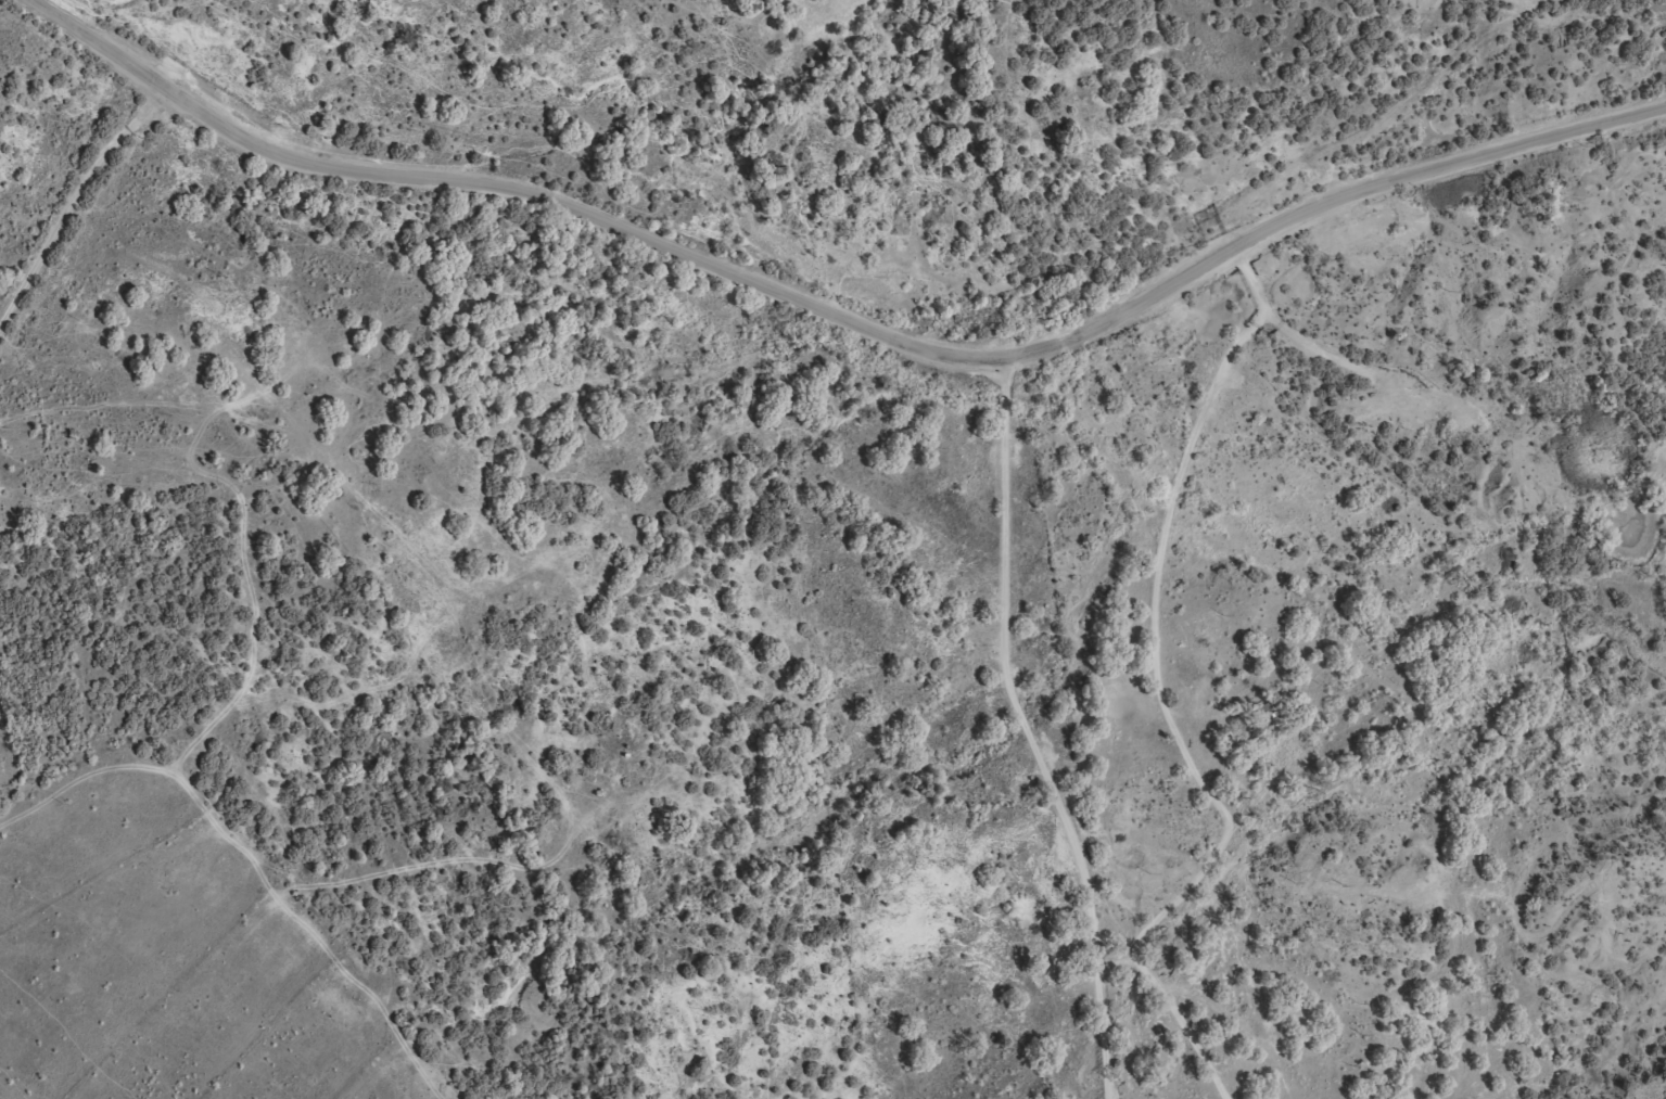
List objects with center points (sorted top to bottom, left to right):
road: (73, 196)
road: (844, 317)
road: (664, 549)
road: (792, 553)
road: (1157, 694)
road: (1022, 730)

